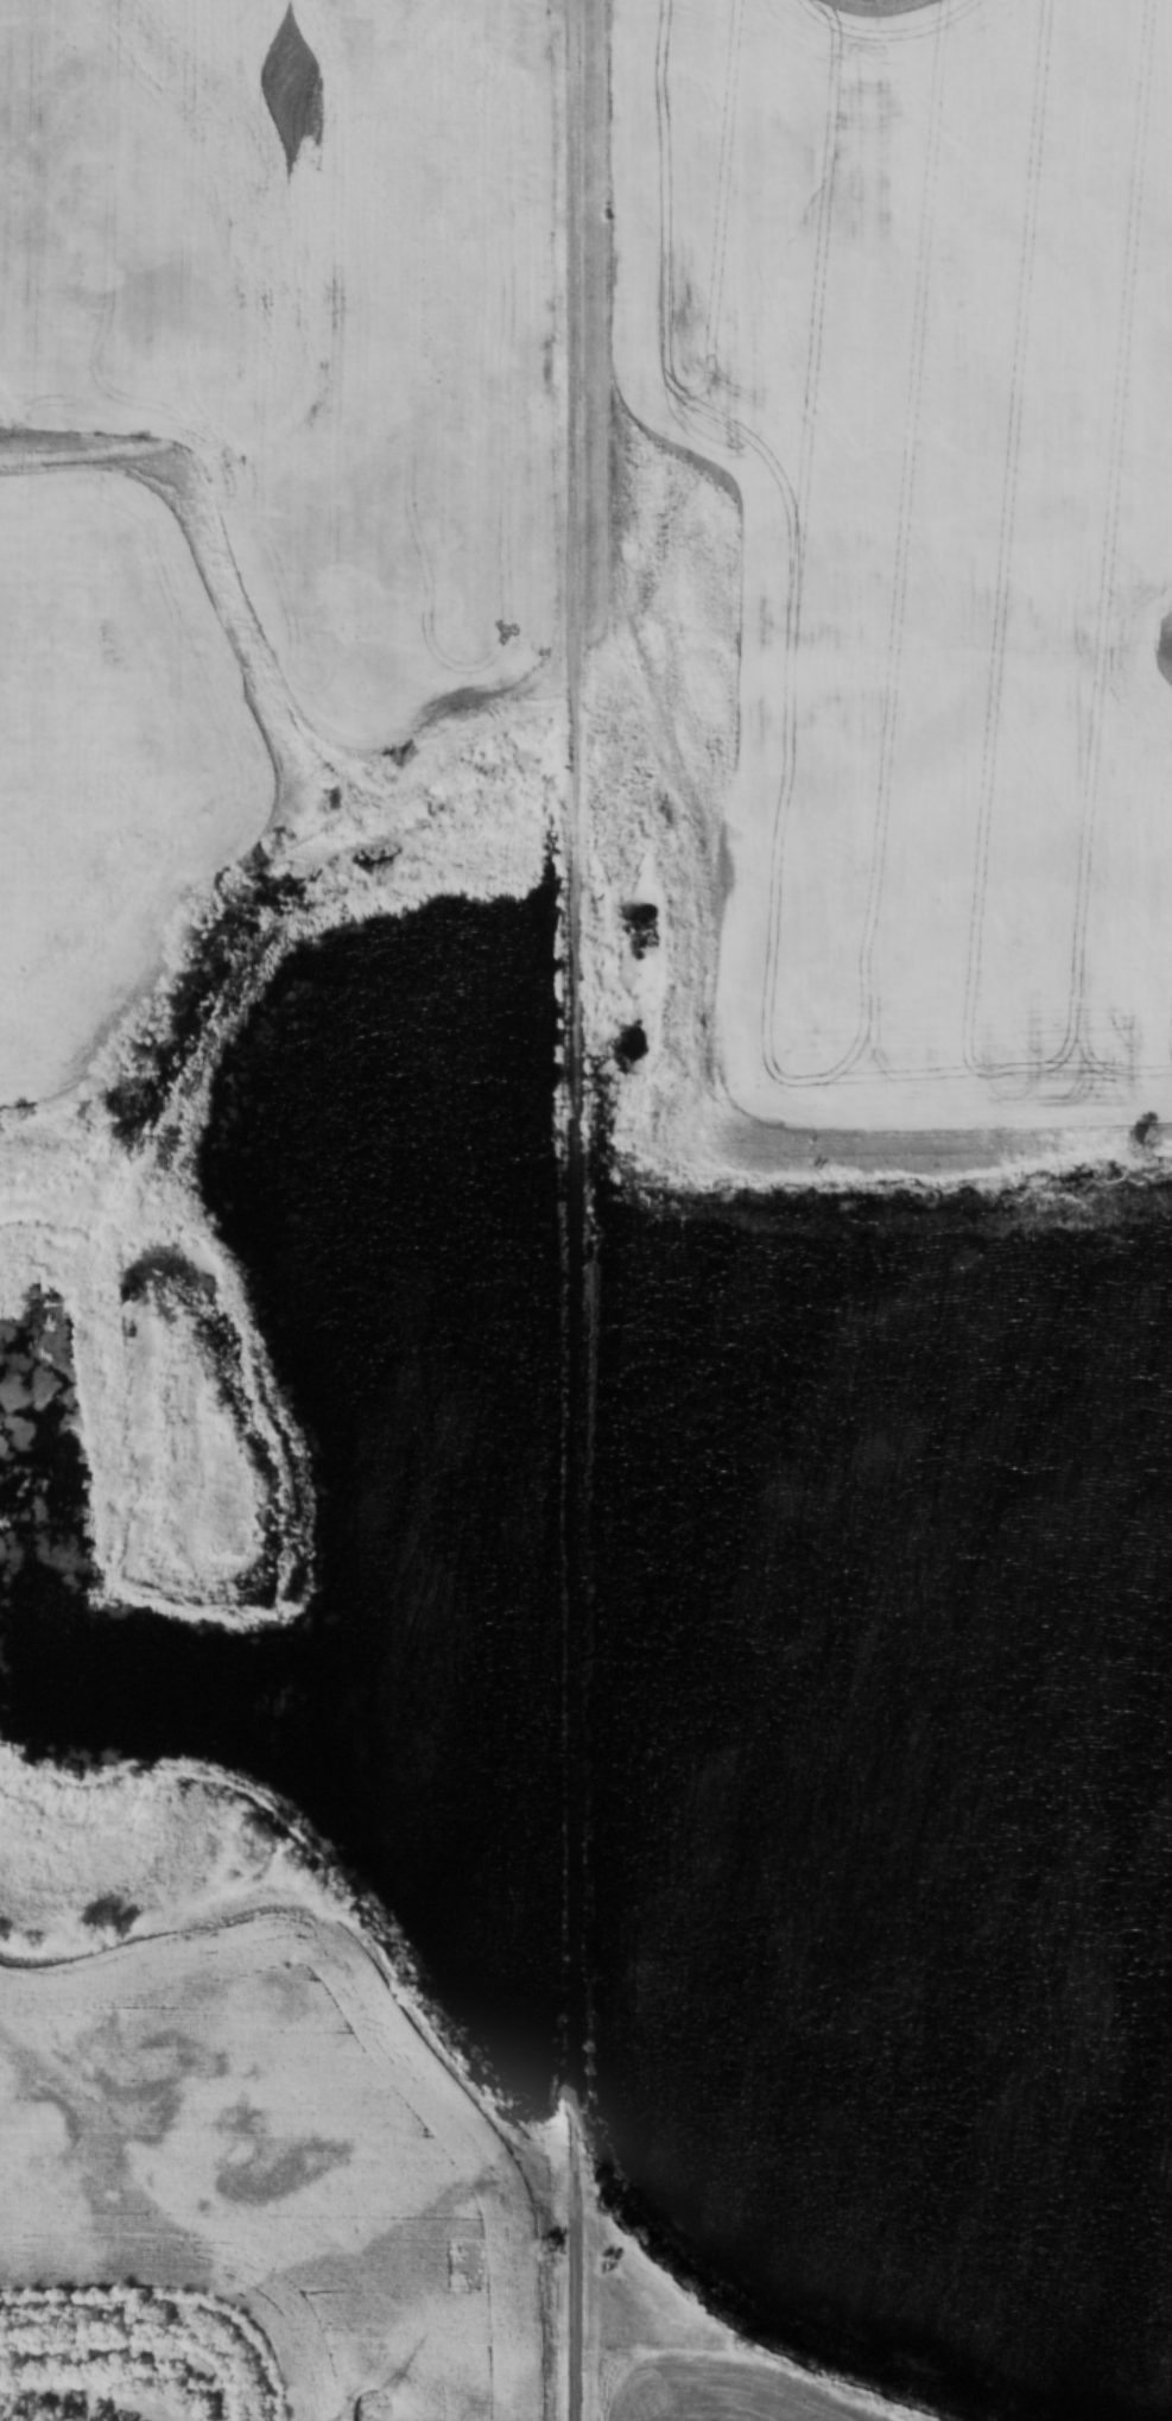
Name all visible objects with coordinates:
road: (574, 353)
road: (575, 2138)
power tower: (373, 2408)

